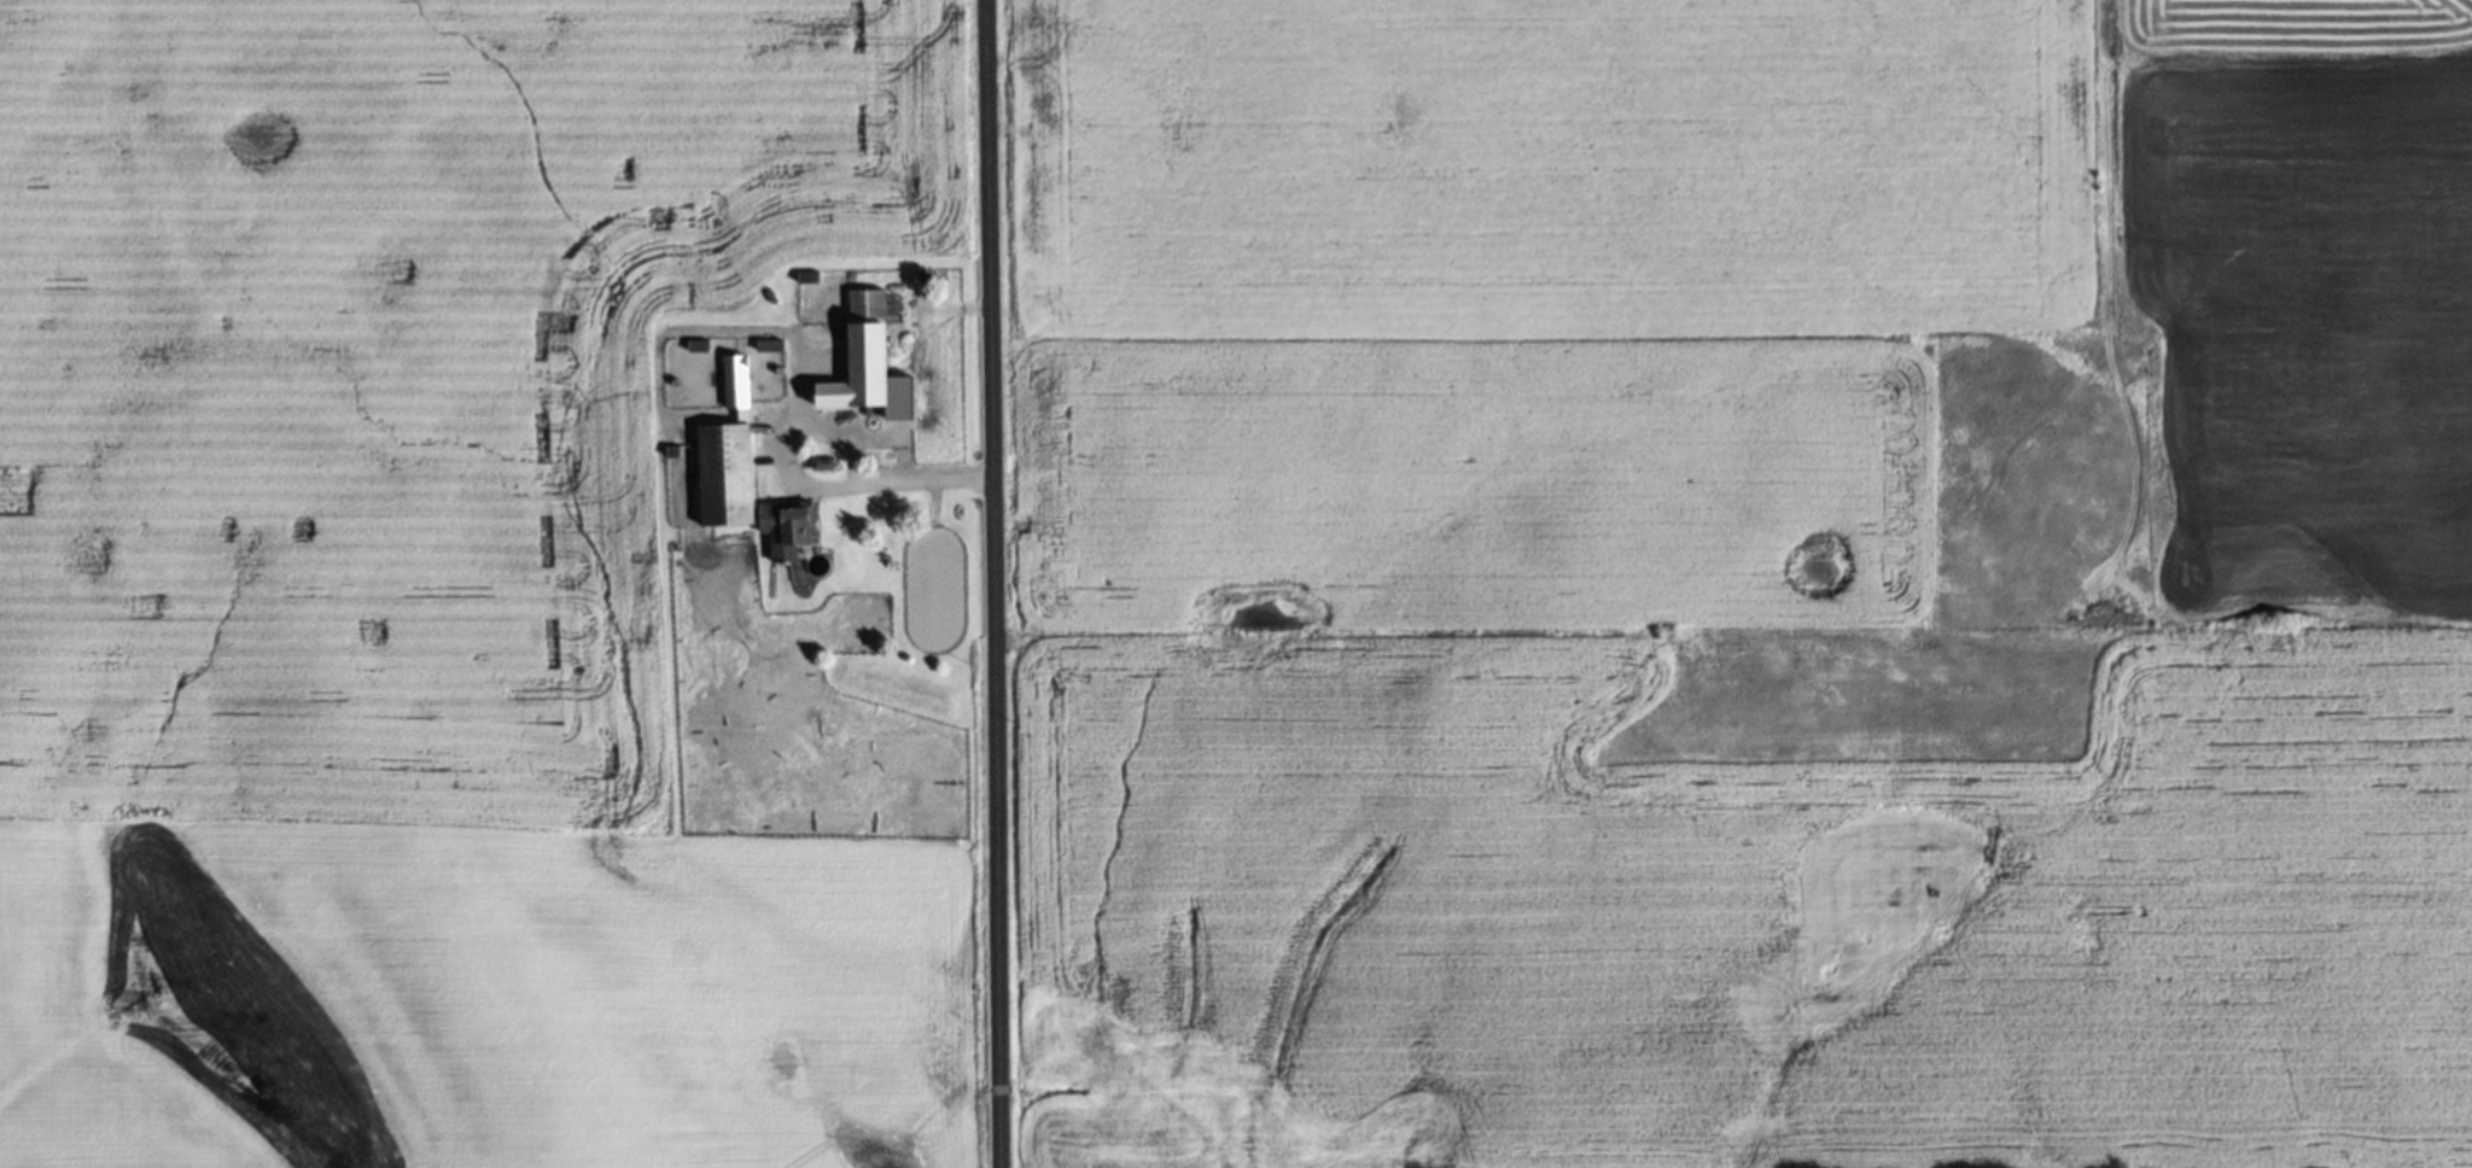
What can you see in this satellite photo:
building: (867, 362)
building: (733, 375)
building: (725, 474)
building: (787, 527)
road: (996, 583)

